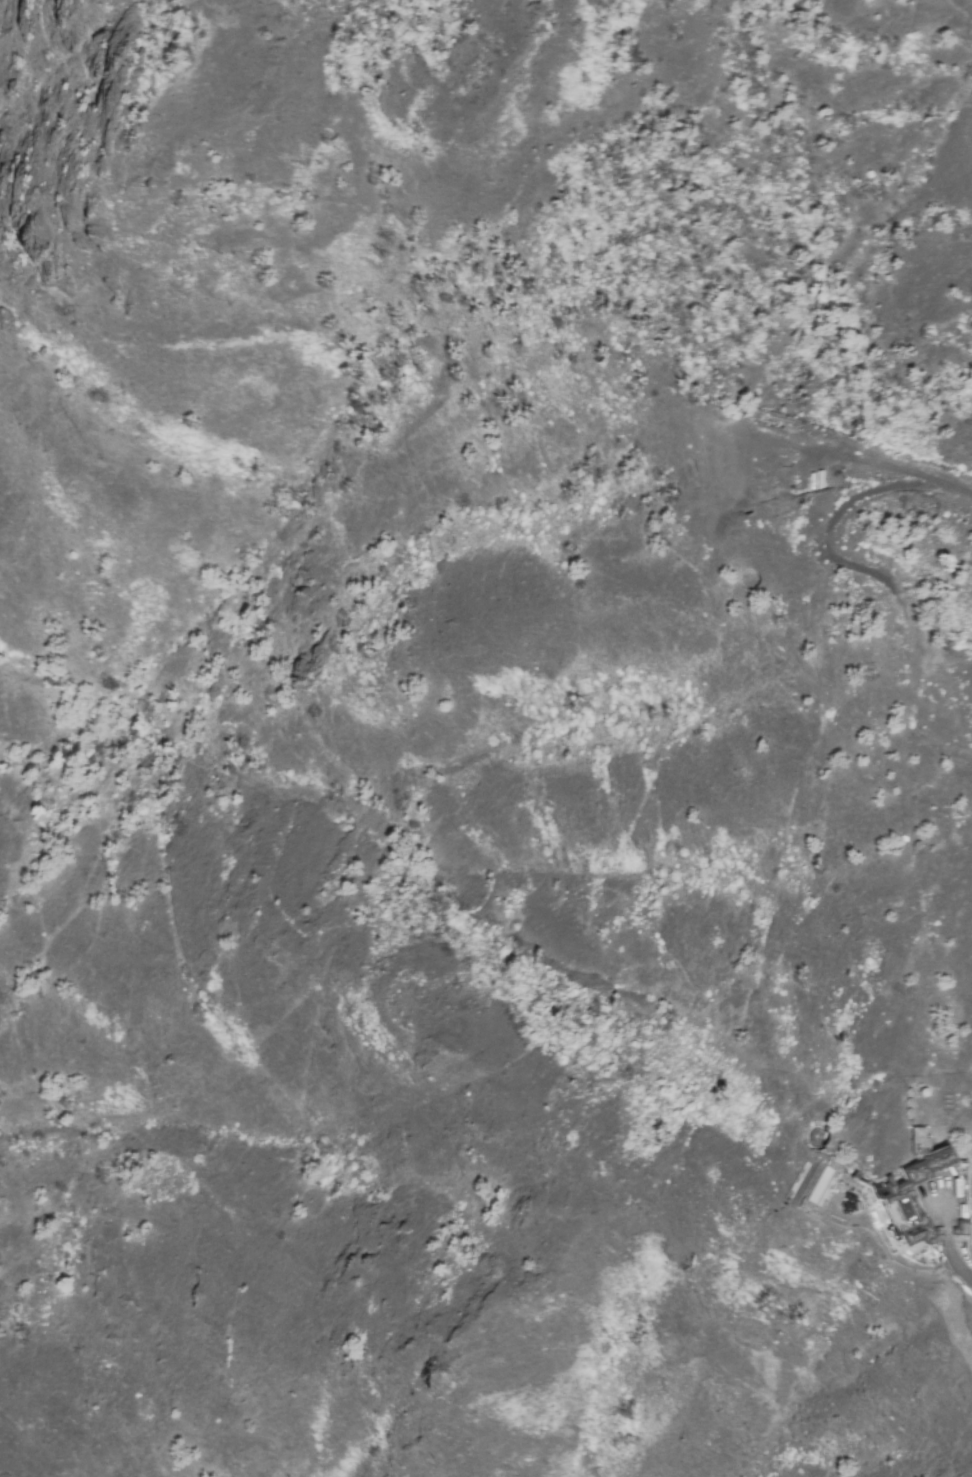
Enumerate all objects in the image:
road: (895, 468)
building: (906, 1196)
road: (962, 1276)

